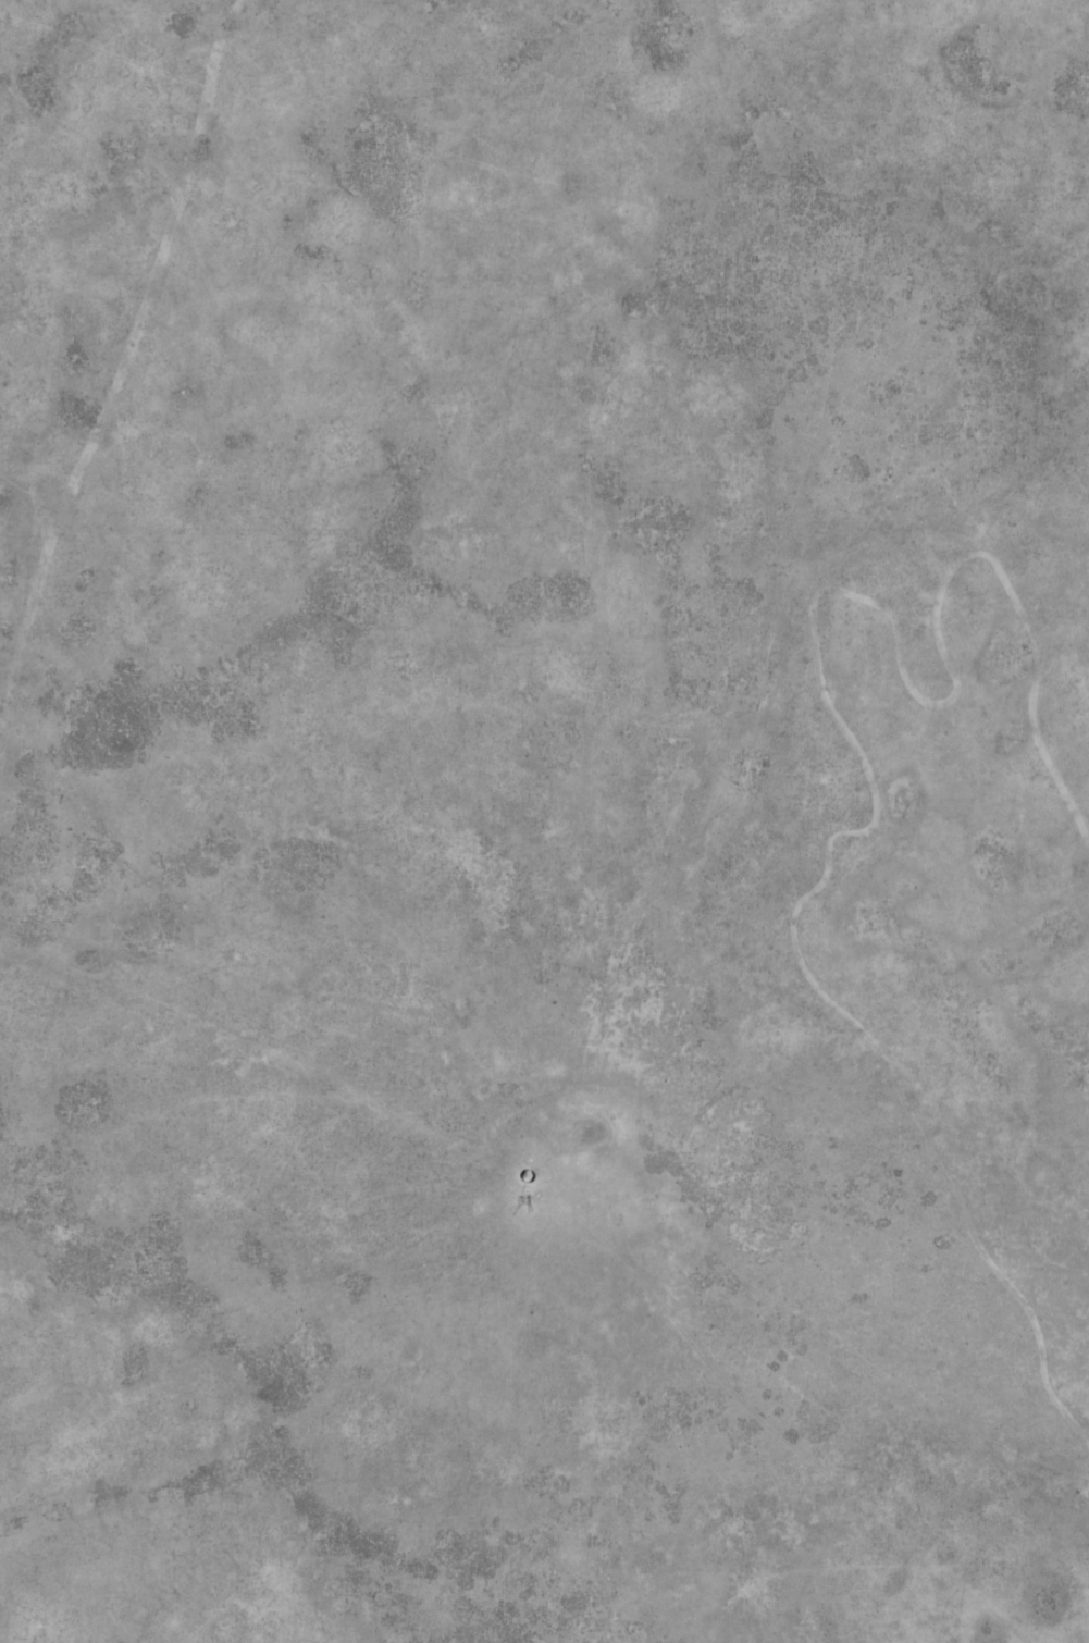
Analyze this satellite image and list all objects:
road: (821, 1412)

